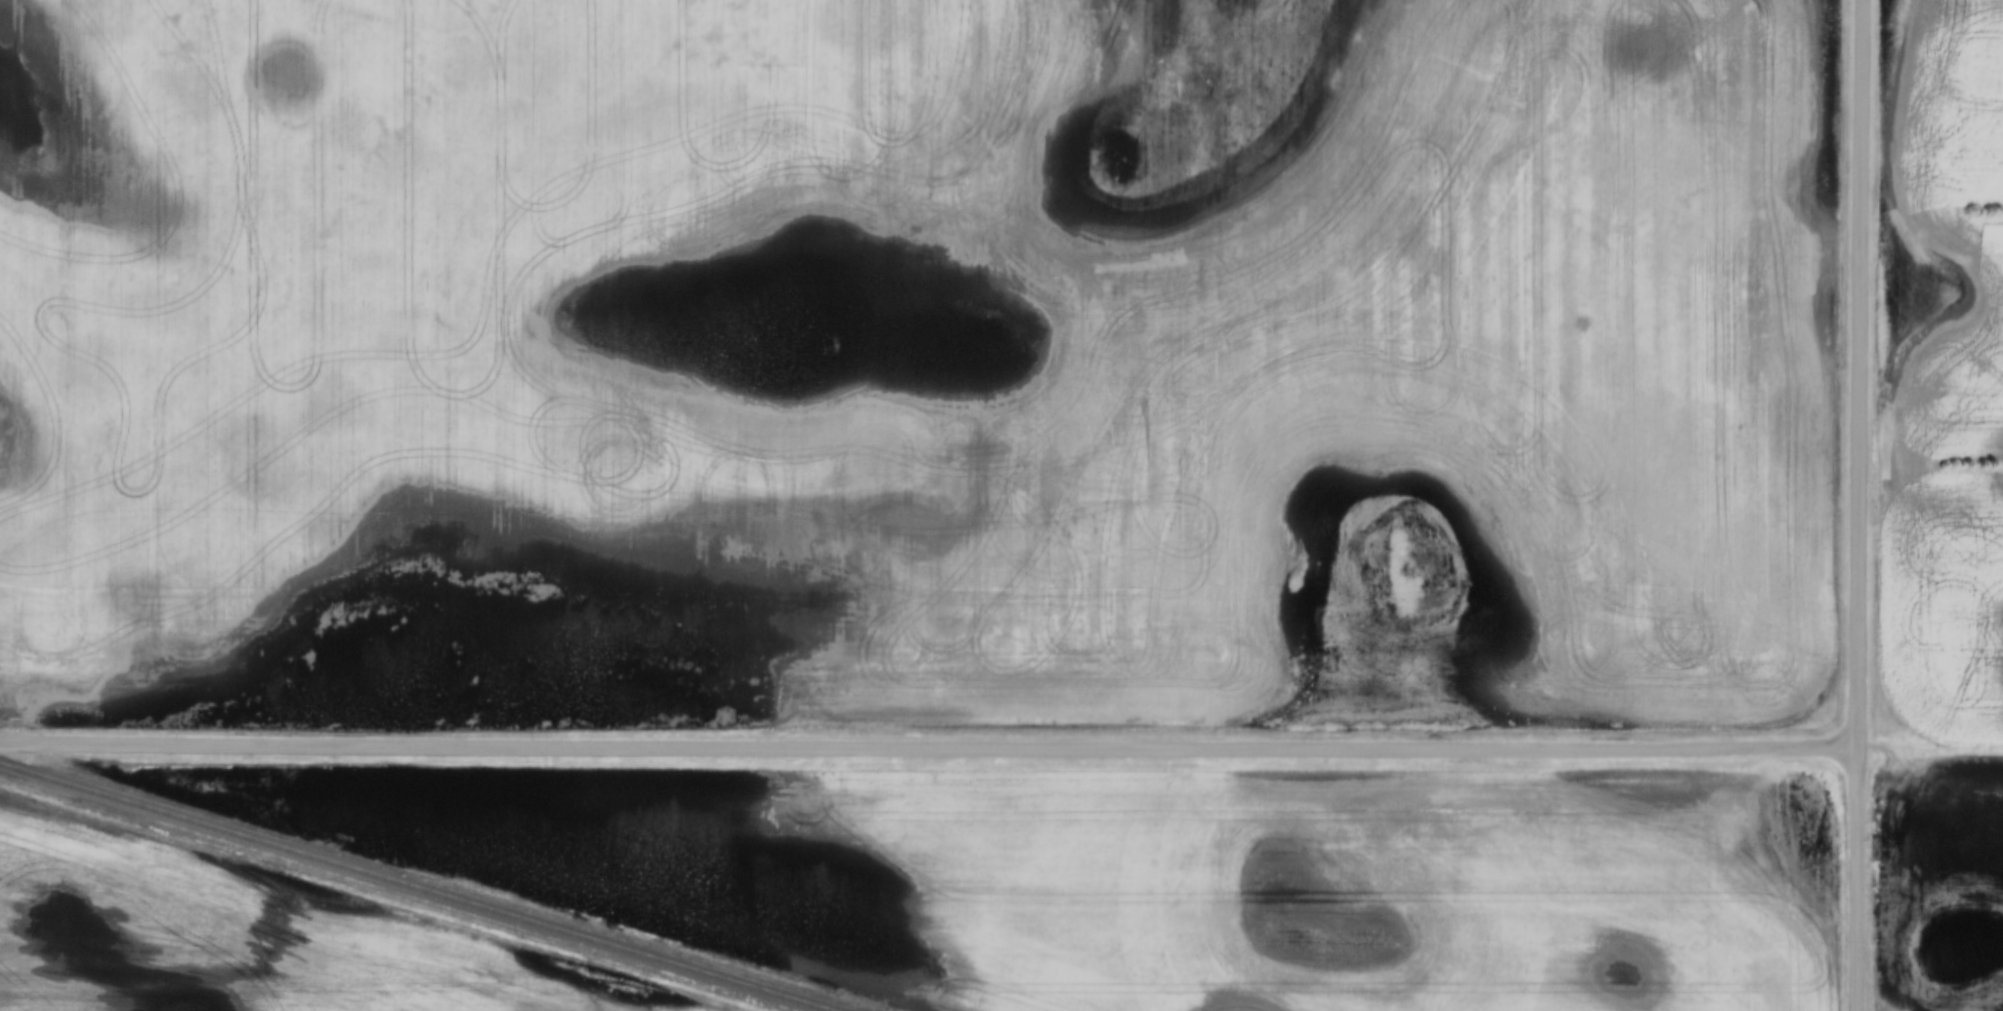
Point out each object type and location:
road: (1858, 373)
road: (927, 751)
crop: (1199, 877)
road: (1856, 879)
railway: (413, 888)
crop: (254, 934)

